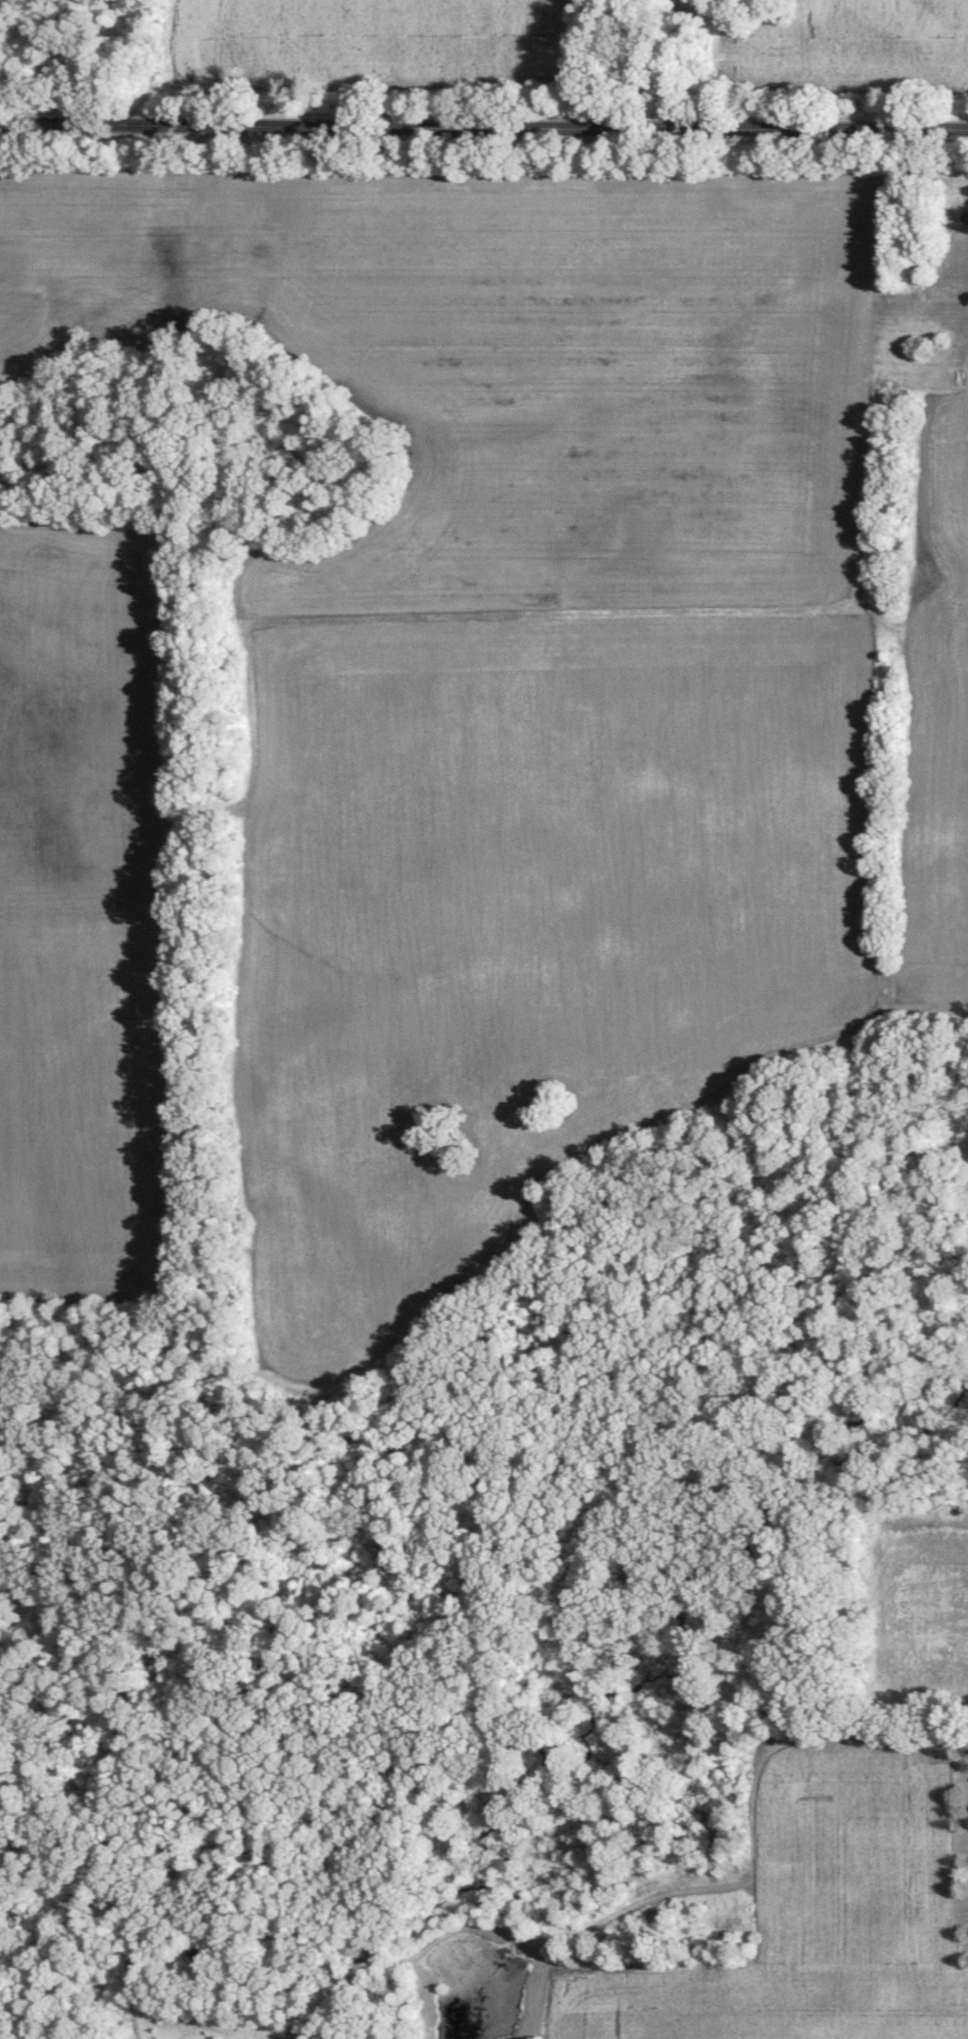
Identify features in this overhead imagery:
road: (484, 124)

